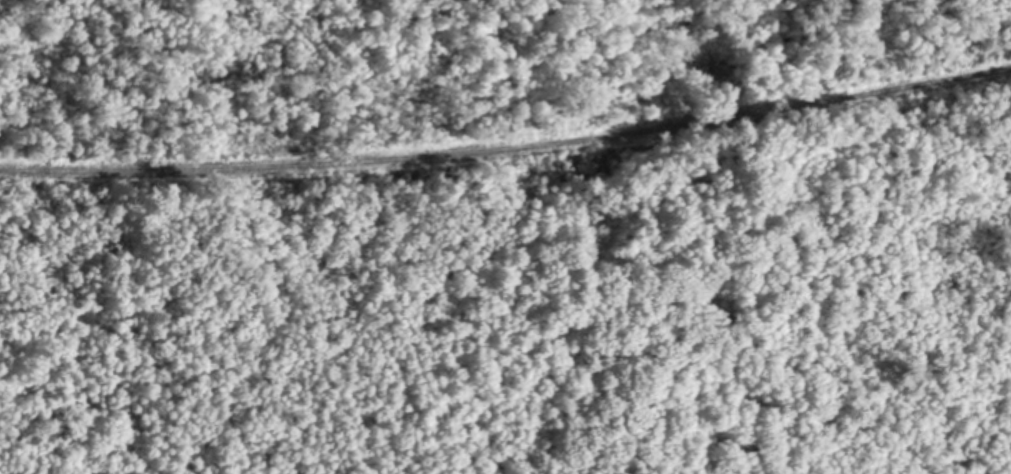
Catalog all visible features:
railway: (508, 151)

